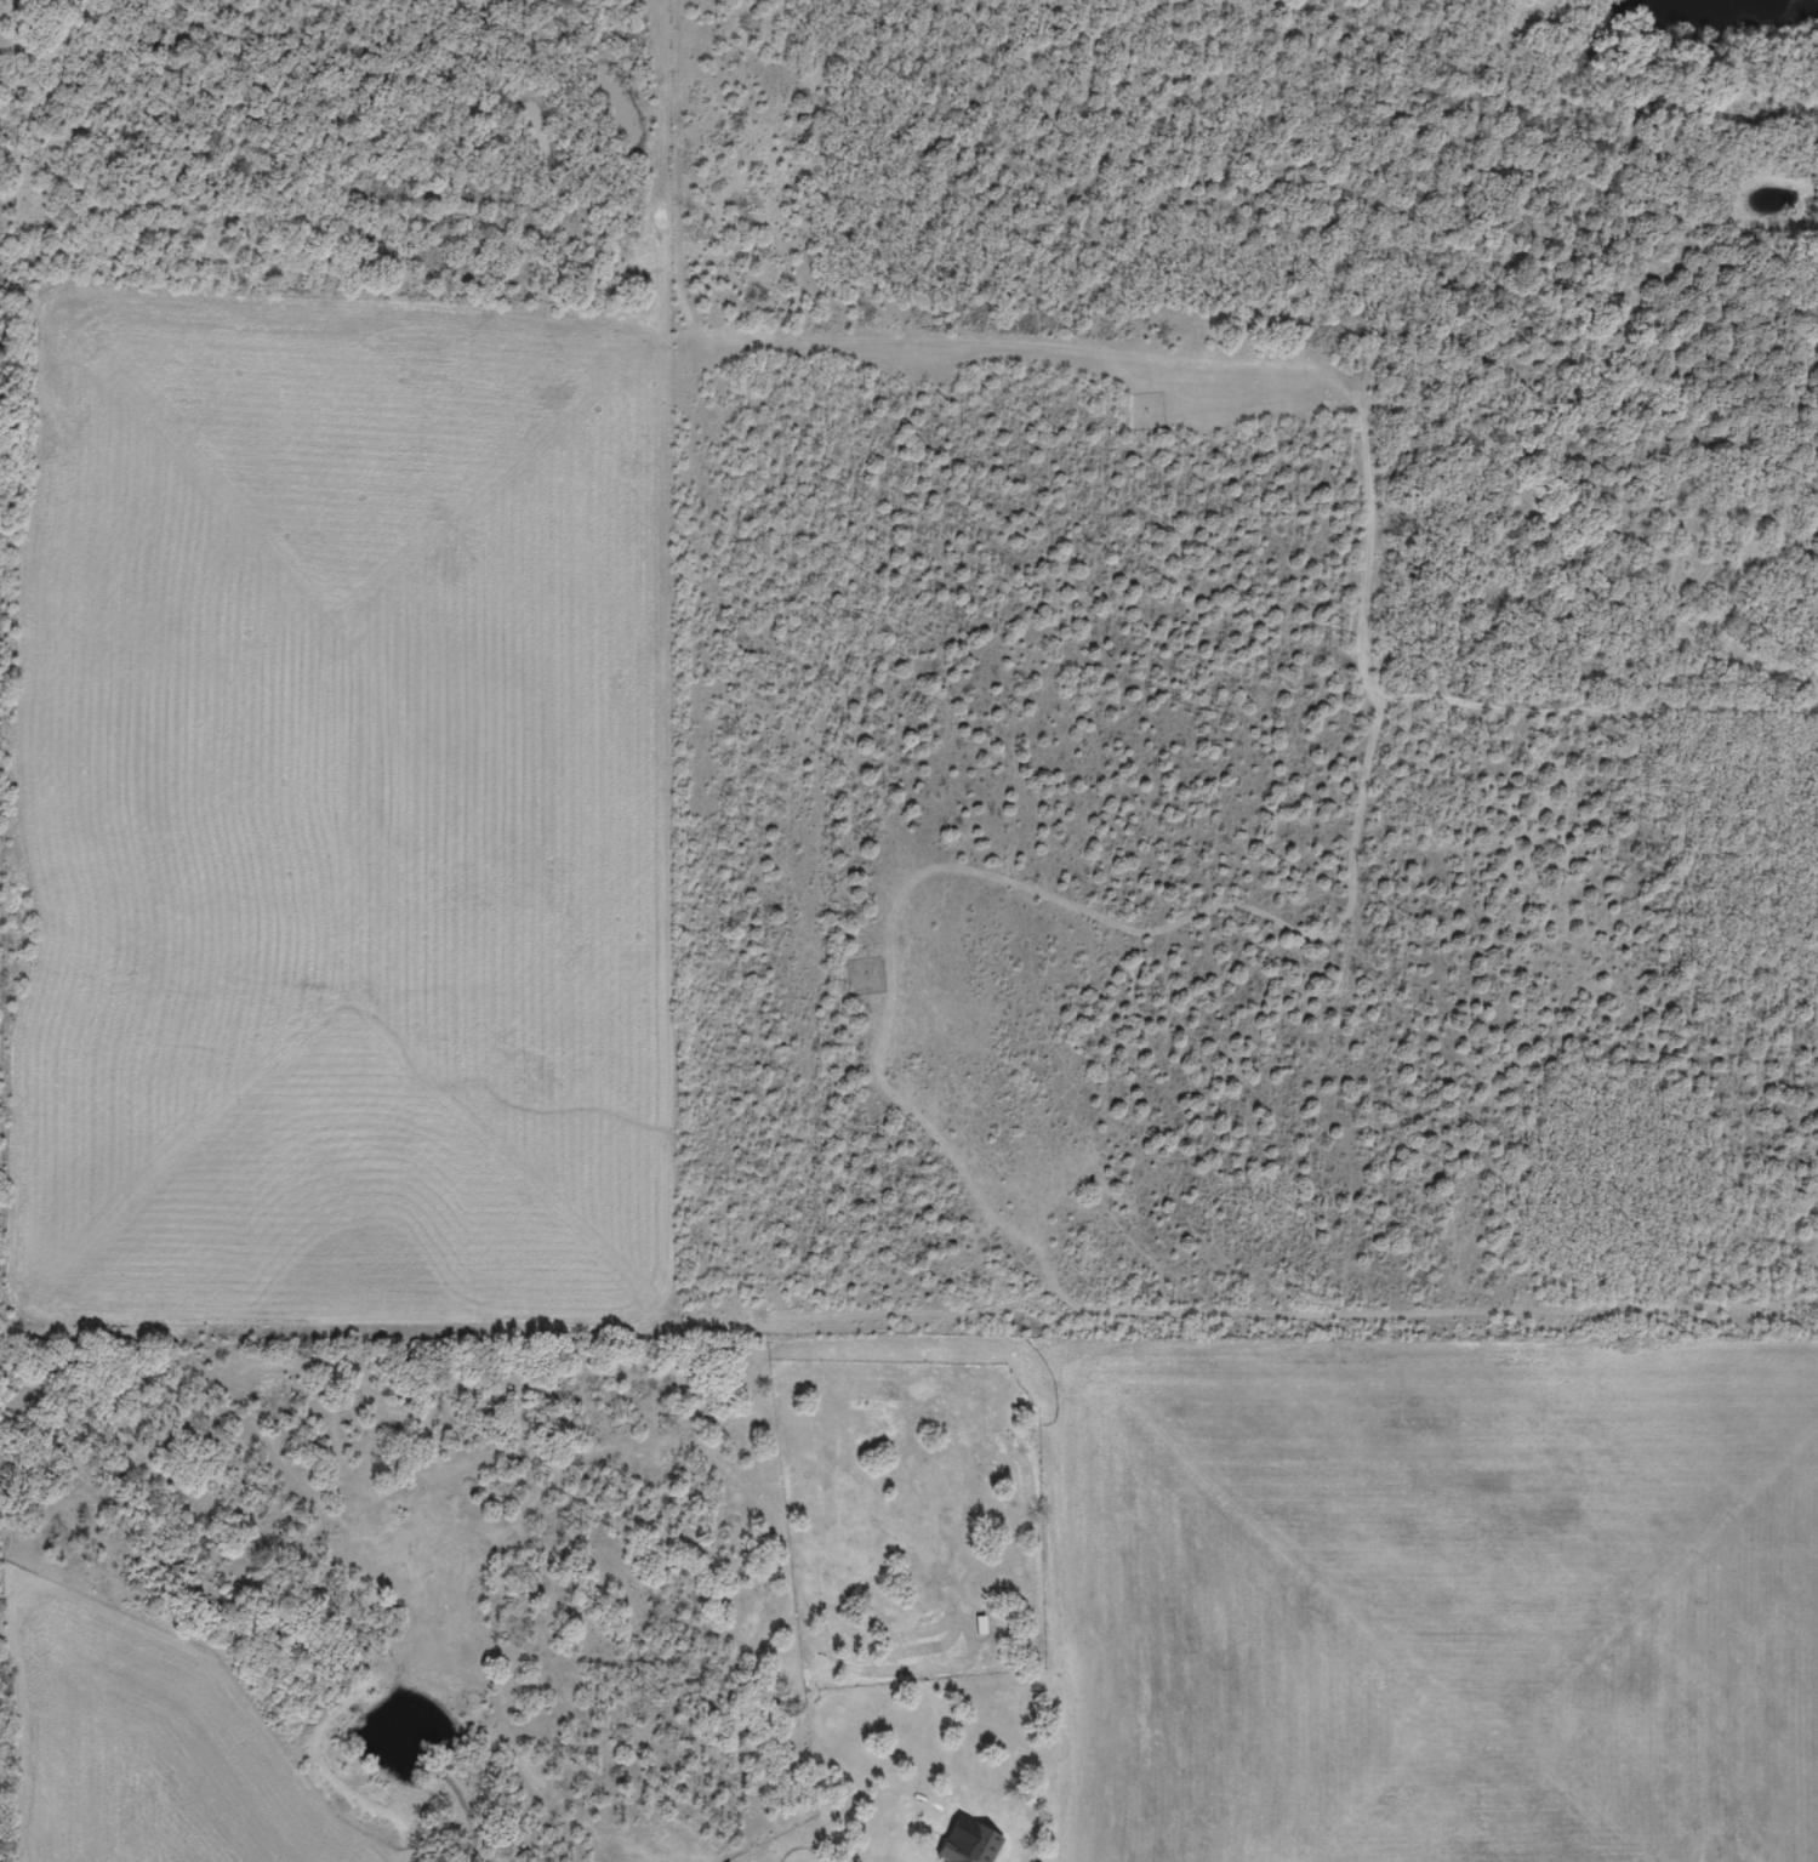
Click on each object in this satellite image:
building: (975, 1850)

